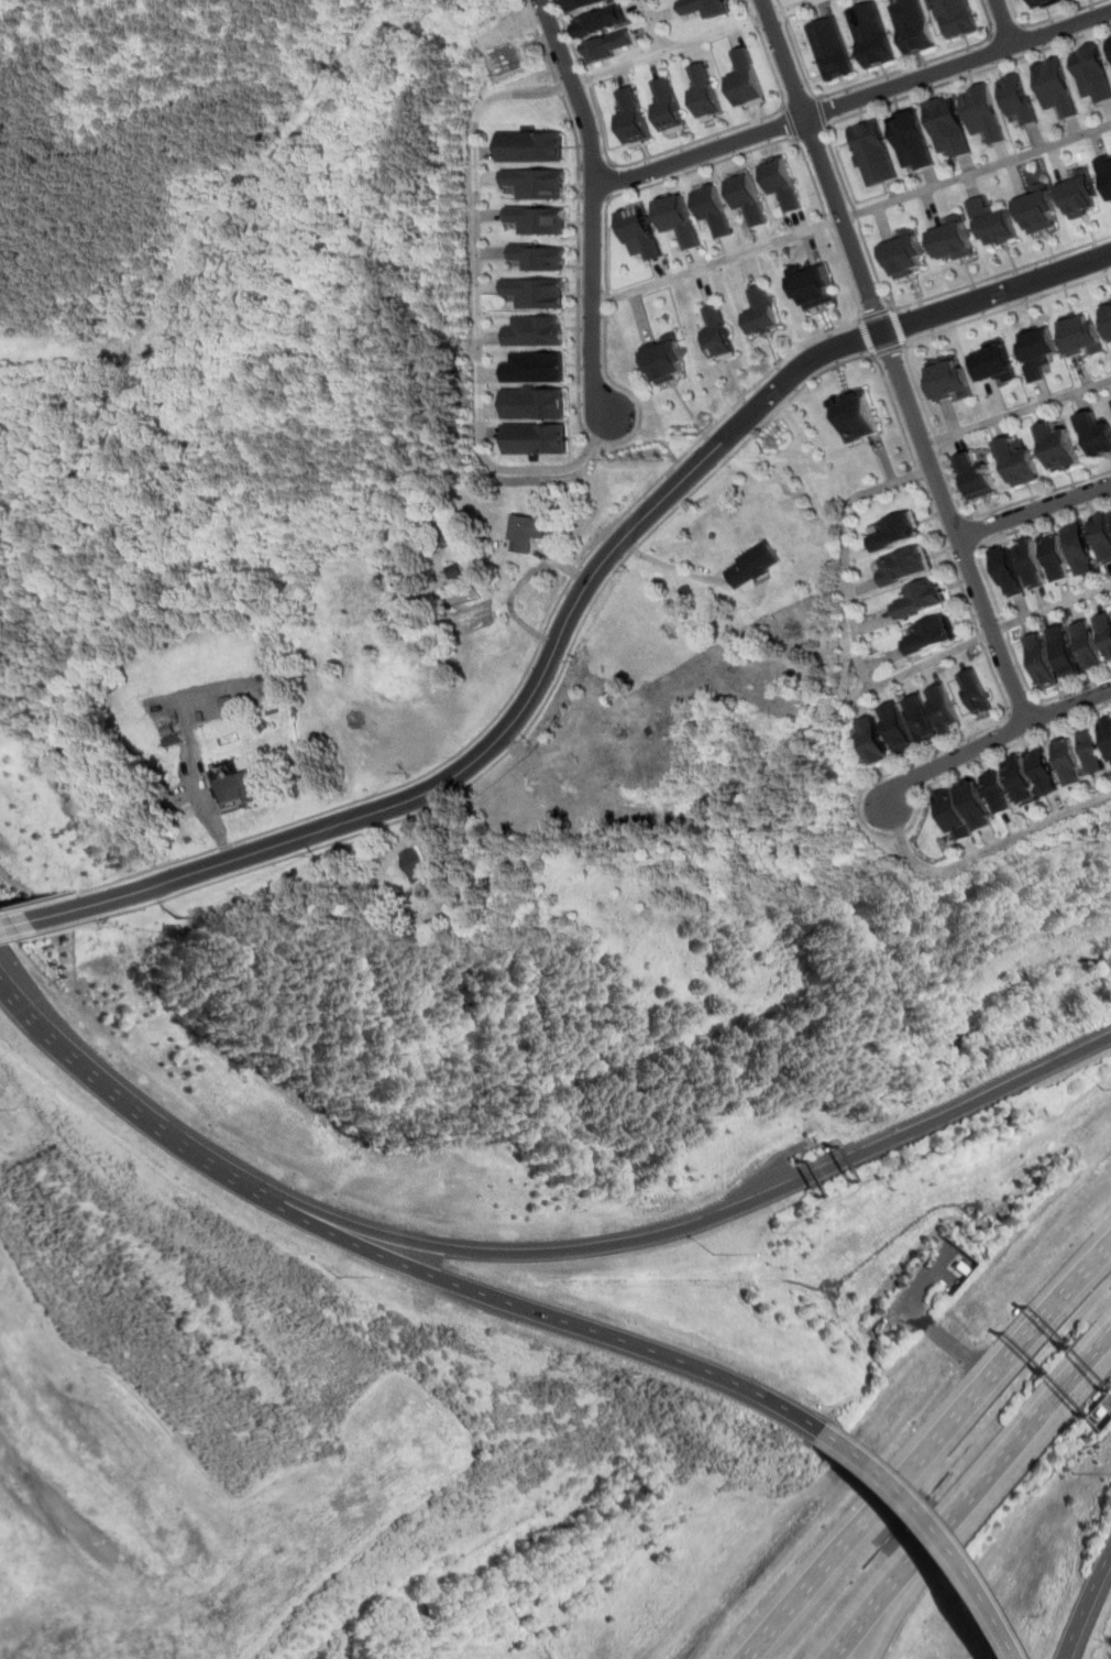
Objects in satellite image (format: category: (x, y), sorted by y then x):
building: (1039, 3)
building: (584, 4)
building: (708, 7)
building: (954, 17)
road: (1047, 19)
building: (599, 20)
road: (999, 24)
road: (659, 26)
building: (910, 26)
building: (869, 35)
building: (612, 47)
building: (1109, 48)
building: (831, 52)
building: (1090, 78)
building: (747, 80)
road: (870, 80)
building: (1053, 88)
building: (706, 91)
building: (1015, 99)
road: (853, 102)
building: (669, 106)
road: (877, 107)
road: (822, 111)
building: (980, 113)
building: (632, 117)
road: (790, 121)
building: (946, 130)
building: (909, 143)
building: (531, 145)
road: (669, 151)
building: (871, 155)
building: (1104, 172)
road: (609, 179)
building: (535, 183)
building: (783, 185)
road: (479, 186)
building: (1078, 196)
road: (594, 197)
building: (749, 198)
road: (593, 205)
building: (714, 210)
building: (1036, 210)
road: (853, 216)
building: (538, 219)
building: (679, 221)
building: (990, 222)
building: (641, 233)
building: (950, 241)
building: (540, 257)
building: (904, 257)
road: (1001, 273)
building: (813, 286)
building: (537, 293)
building: (763, 312)
road: (873, 314)
road: (873, 316)
building: (1105, 318)
road: (898, 327)
building: (537, 331)
building: (719, 332)
building: (1077, 335)
road: (867, 337)
road: (887, 350)
building: (1033, 352)
building: (669, 361)
building: (990, 362)
building: (536, 368)
building: (945, 378)
road: (608, 380)
road: (920, 400)
building: (535, 403)
road: (1015, 412)
building: (857, 416)
building: (1093, 435)
building: (535, 439)
building: (1054, 446)
building: (1014, 462)
building: (974, 478)
road: (1033, 510)
building: (1110, 515)
road: (971, 531)
building: (897, 533)
building: (525, 535)
building: (1100, 537)
building: (1077, 552)
building: (1053, 558)
building: (1030, 566)
building: (904, 567)
building: (752, 568)
building: (1005, 574)
road: (607, 579)
road: (519, 585)
road: (990, 596)
building: (920, 599)
road: (574, 607)
road: (1050, 609)
road: (851, 619)
building: (1104, 632)
building: (928, 636)
building: (1088, 647)
building: (1064, 654)
building: (1038, 662)
road: (1008, 676)
building: (970, 691)
road: (1018, 706)
building: (941, 710)
road: (499, 711)
building: (917, 719)
building: (894, 730)
building: (1107, 735)
road: (993, 738)
building: (871, 742)
building: (1092, 754)
building: (1067, 765)
building: (1043, 772)
building: (1018, 782)
road: (206, 783)
building: (239, 790)
building: (997, 793)
building: (974, 808)
building: (952, 818)
road: (911, 827)
road: (982, 852)
building: (413, 869)
building: (439, 907)
road: (2, 913)
road: (14, 924)
road: (9, 936)
road: (131, 1098)
road: (713, 1216)
road: (546, 1312)
road: (927, 1445)
road: (971, 1495)
road: (913, 1534)
road: (1086, 1609)

